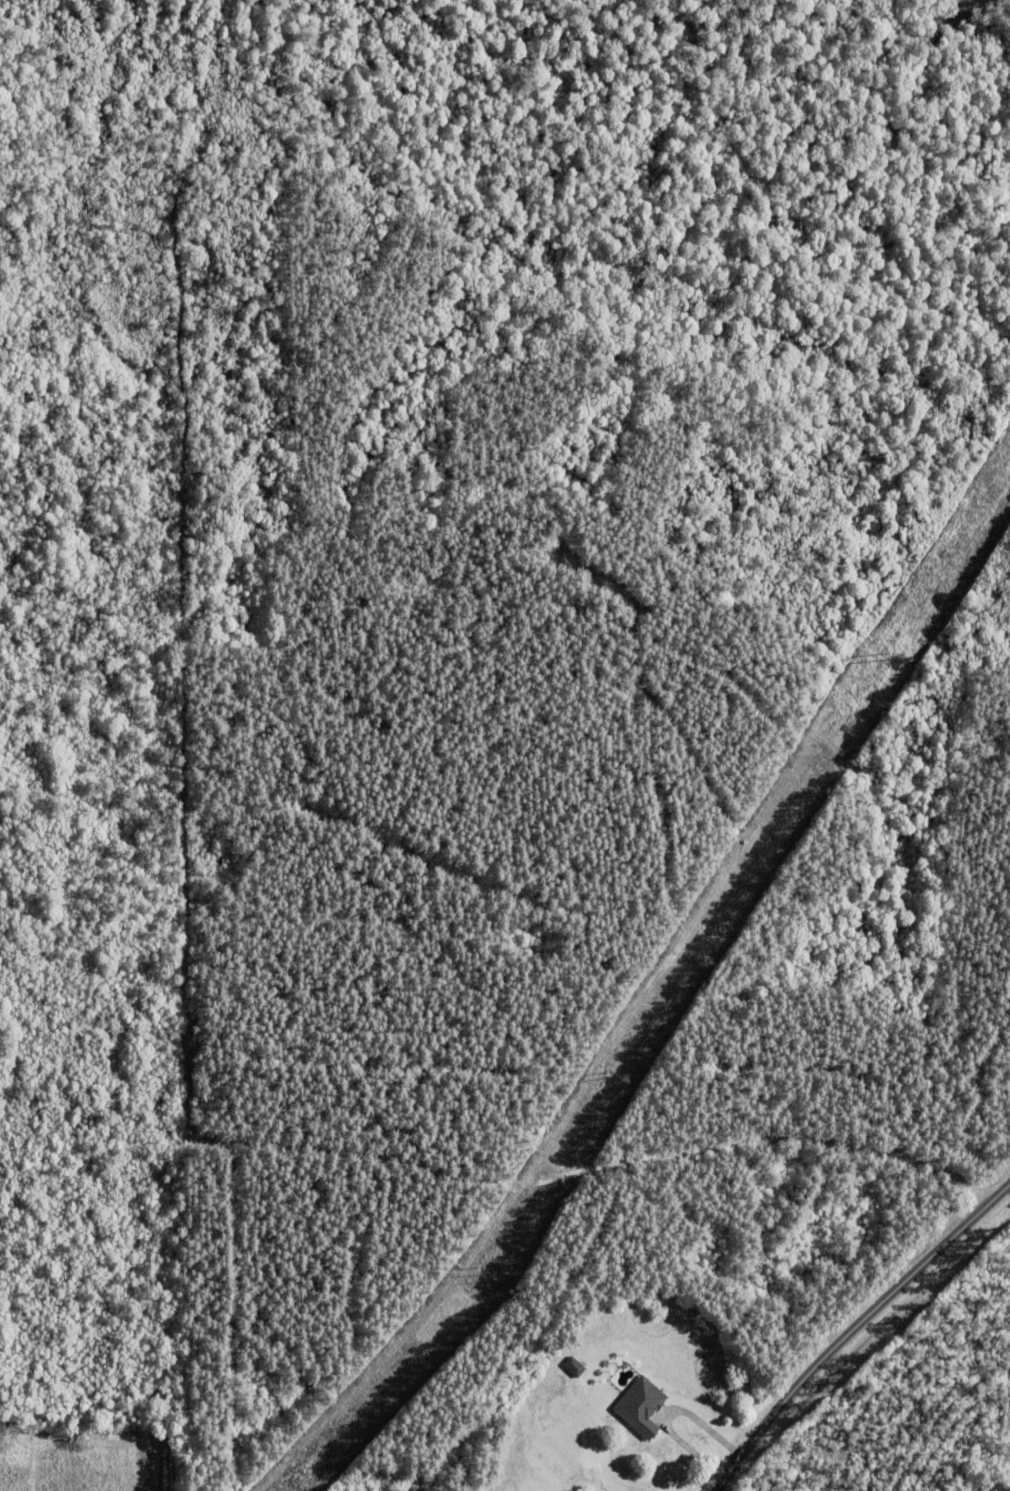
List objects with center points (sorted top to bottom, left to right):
building: (646, 605)
road: (854, 1329)
building: (577, 1369)
building: (641, 1406)
road: (668, 1415)

